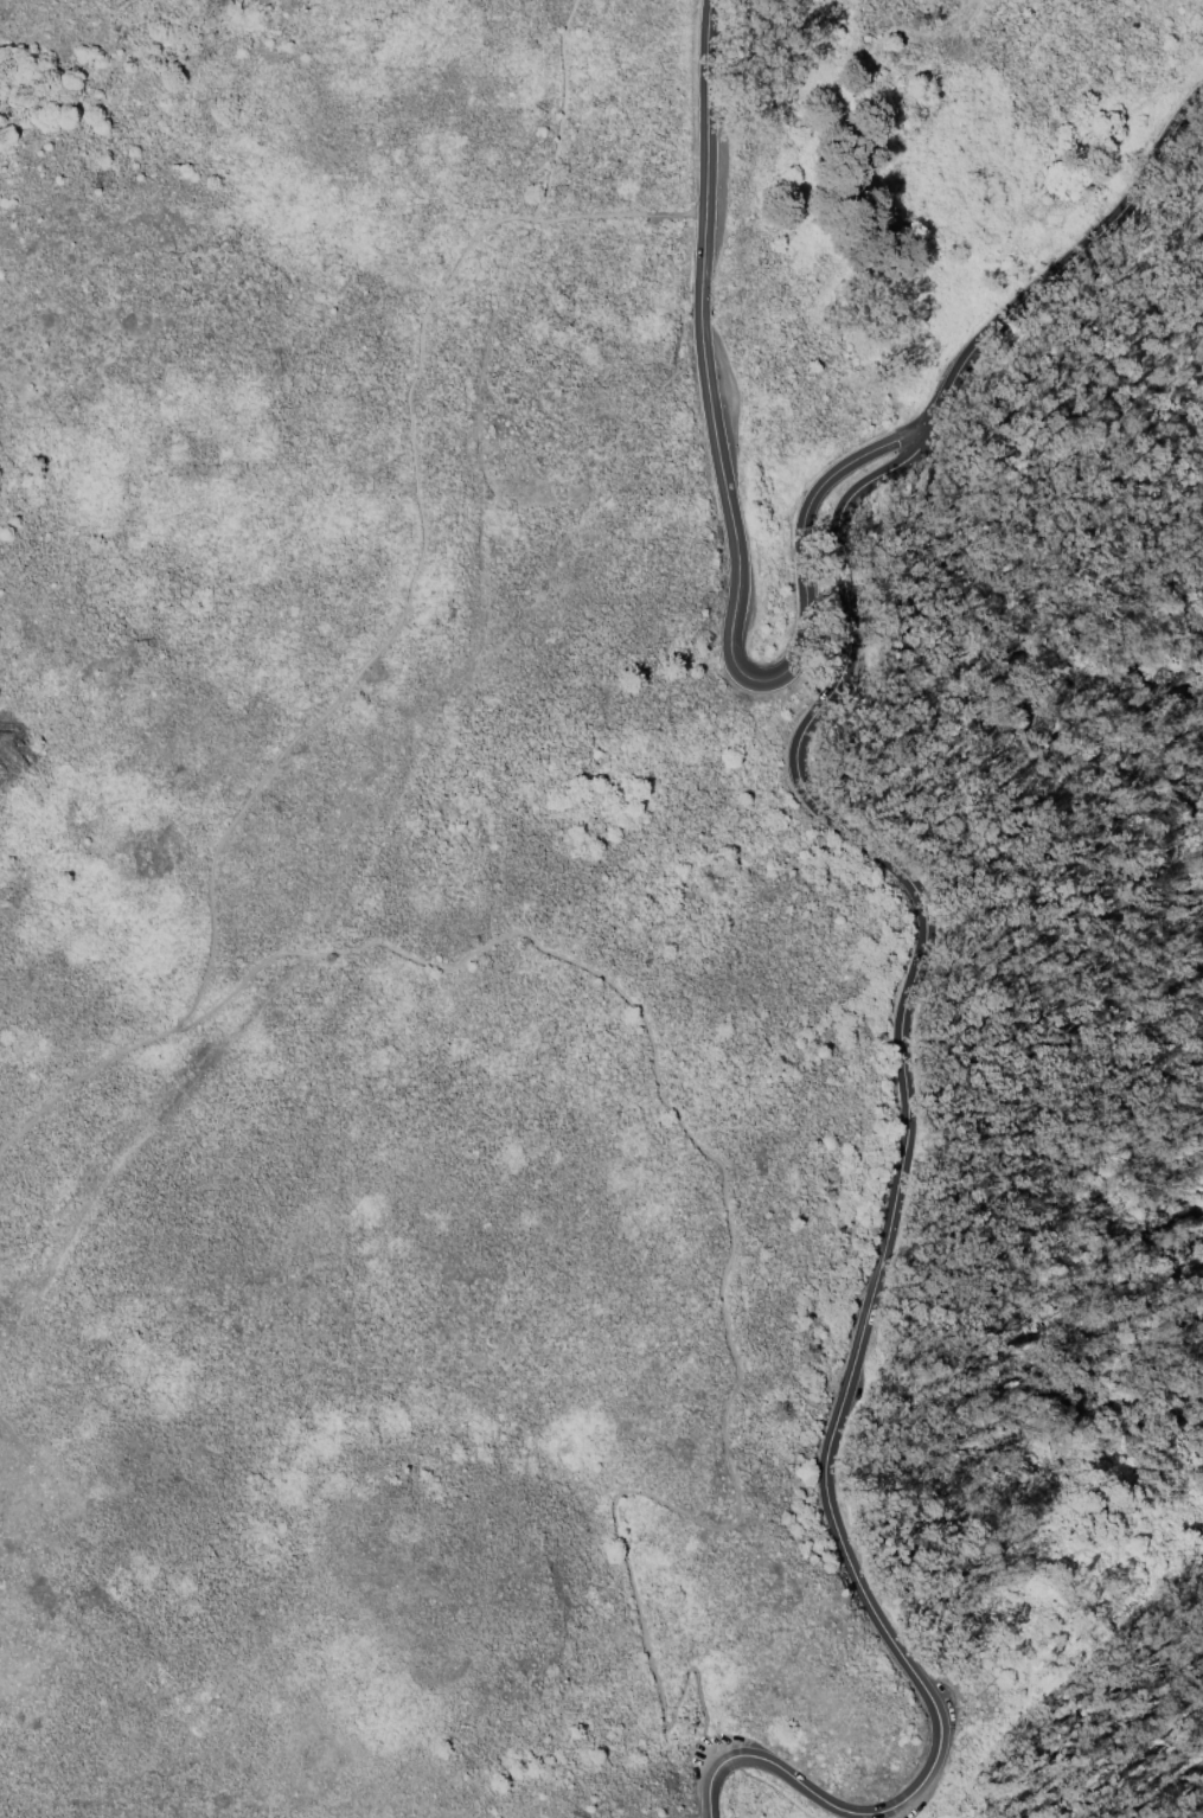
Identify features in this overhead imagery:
road: (564, 109)
road: (620, 216)
road: (1064, 264)
road: (731, 523)
road: (395, 621)
road: (966, 1068)
road: (81, 1069)
road: (904, 1092)
road: (722, 1273)
road: (722, 1761)
road: (801, 1785)
road: (769, 1787)
road: (708, 1792)
road: (881, 1810)
road: (889, 1812)

